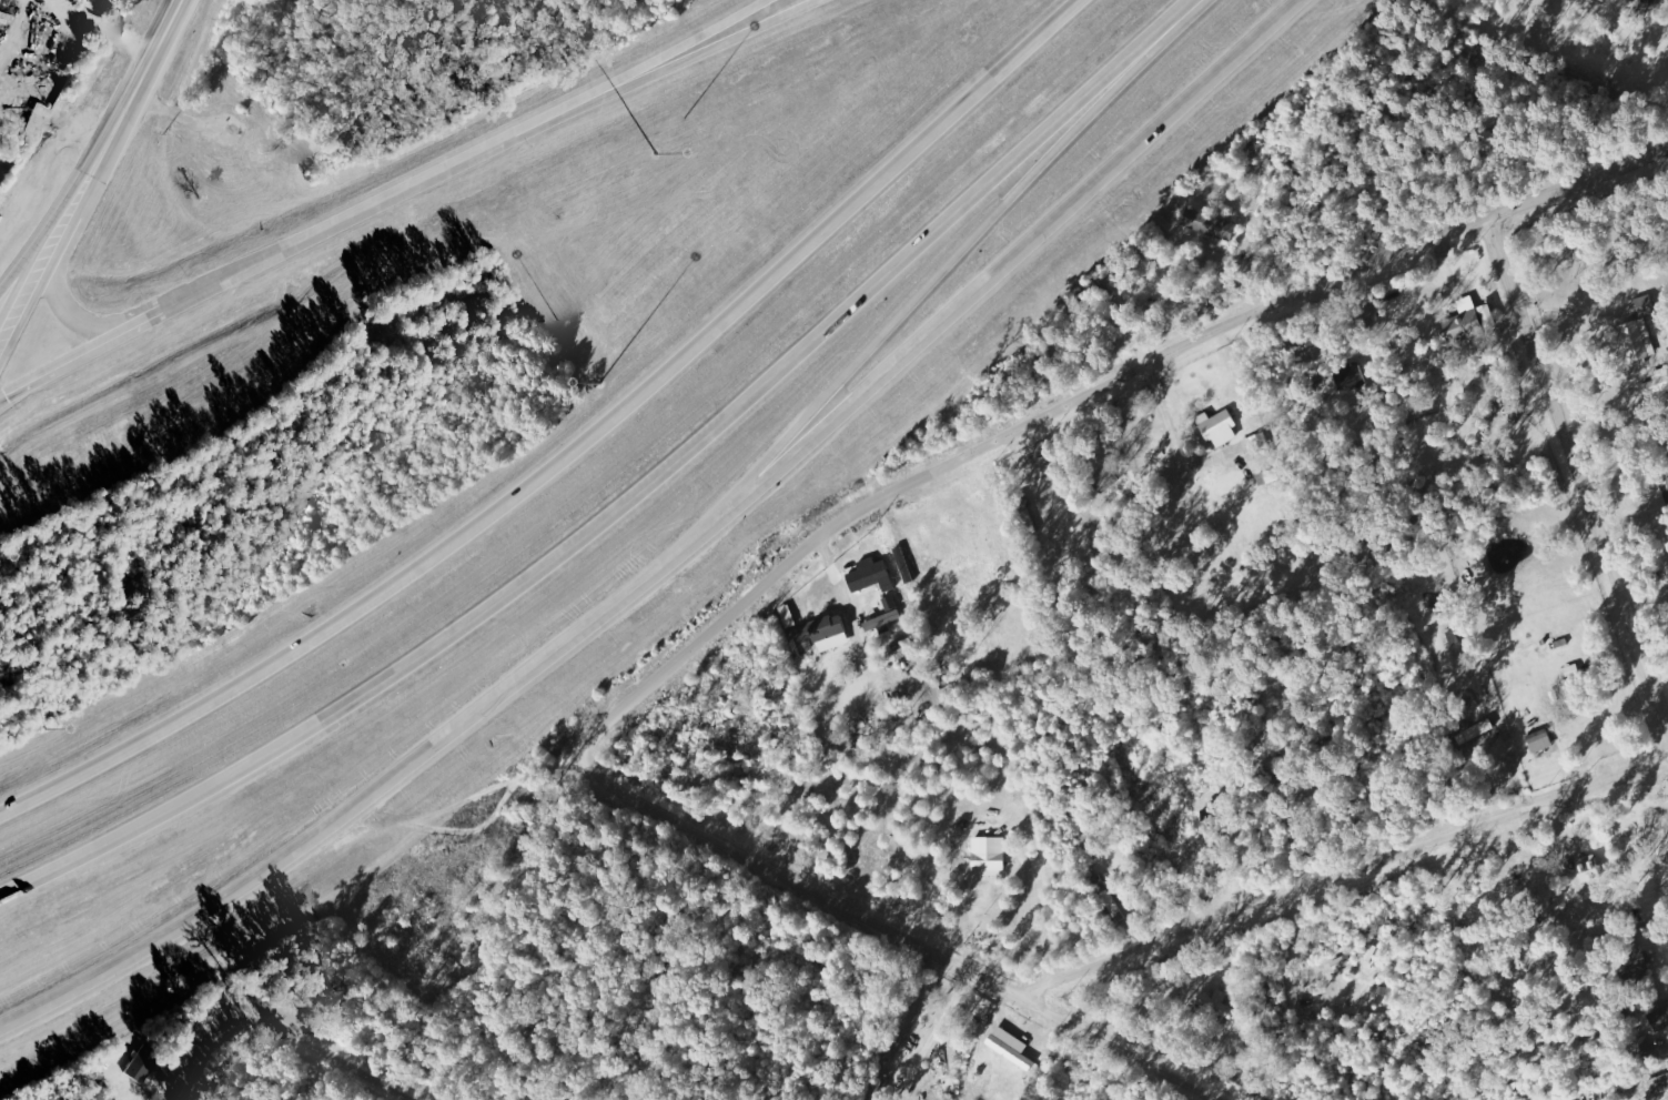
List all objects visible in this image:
road: (1176, 13)
road: (120, 112)
road: (1577, 183)
road: (392, 196)
building: (1211, 224)
road: (52, 243)
road: (30, 262)
road: (928, 292)
road: (21, 301)
building: (1646, 305)
road: (71, 316)
building: (1638, 340)
building: (1352, 375)
building: (1657, 381)
building: (1219, 427)
road: (997, 440)
building: (1257, 445)
road: (568, 450)
building: (1058, 474)
road: (1577, 476)
building: (1106, 478)
road: (615, 508)
road: (680, 553)
building: (872, 576)
building: (887, 619)
building: (819, 635)
building: (1574, 694)
building: (1476, 730)
building: (1540, 740)
road: (471, 797)
road: (489, 807)
building: (991, 861)
building: (1589, 868)
road: (1345, 874)
building: (1099, 882)
road: (898, 934)
building: (1342, 961)
building: (1221, 1005)
building: (1660, 1019)
road: (281, 1027)
building: (1011, 1047)
building: (141, 1062)
building: (1659, 1084)

